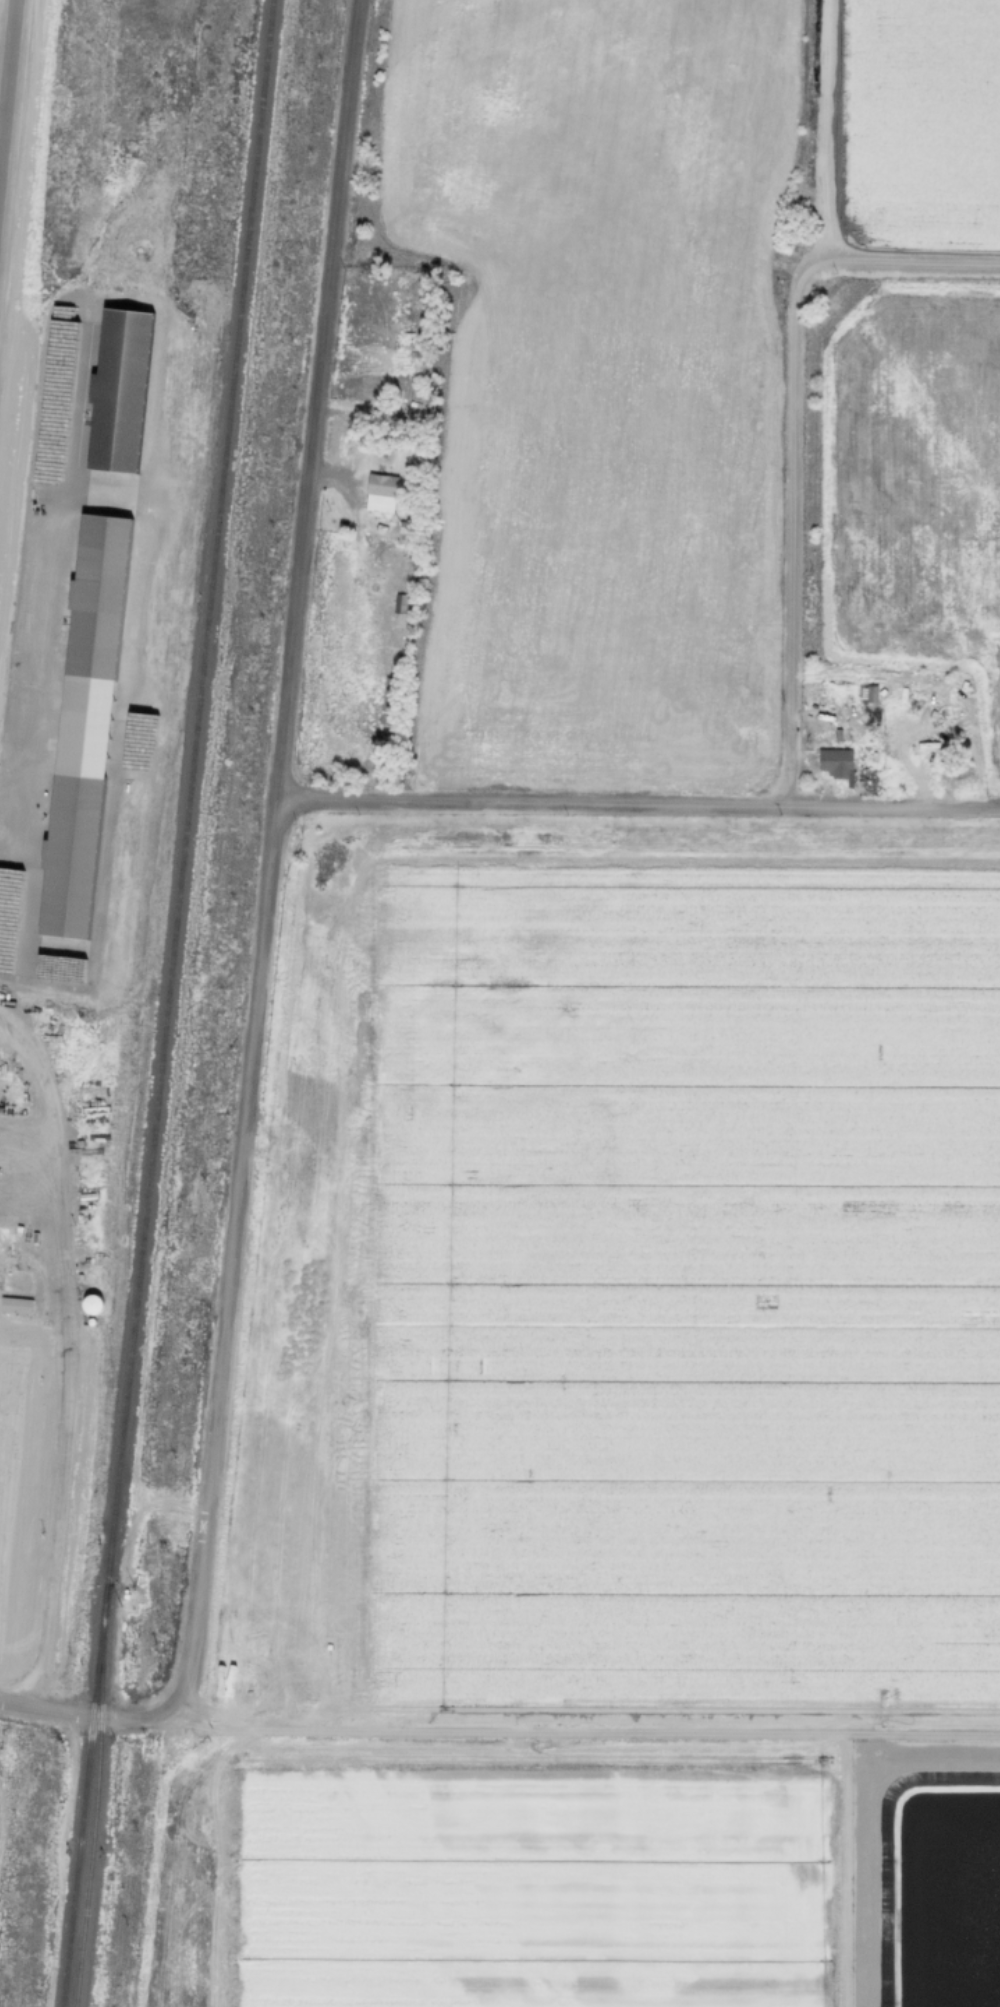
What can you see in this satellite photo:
airport runway: (7, 77)
road: (820, 131)
building: (118, 391)
road: (791, 438)
building: (380, 492)
building: (404, 529)
building: (399, 611)
road: (53, 623)
building: (863, 694)
building: (920, 696)
building: (387, 701)
building: (82, 726)
building: (837, 736)
building: (917, 763)
building: (843, 768)
road: (17, 786)
railway: (189, 789)
road: (636, 803)
road: (260, 944)
road: (44, 1127)
building: (90, 1303)
storage tank: (90, 1303)
building: (15, 1305)
building: (90, 1321)
storage tank: (90, 1321)
road: (65, 1454)
building: (125, 1602)
building: (81, 1665)
building: (81, 1670)
building: (80, 1676)
road: (580, 1732)
railway: (85, 1793)
railway: (96, 1793)
road: (867, 1824)
crop: (574, 1867)

